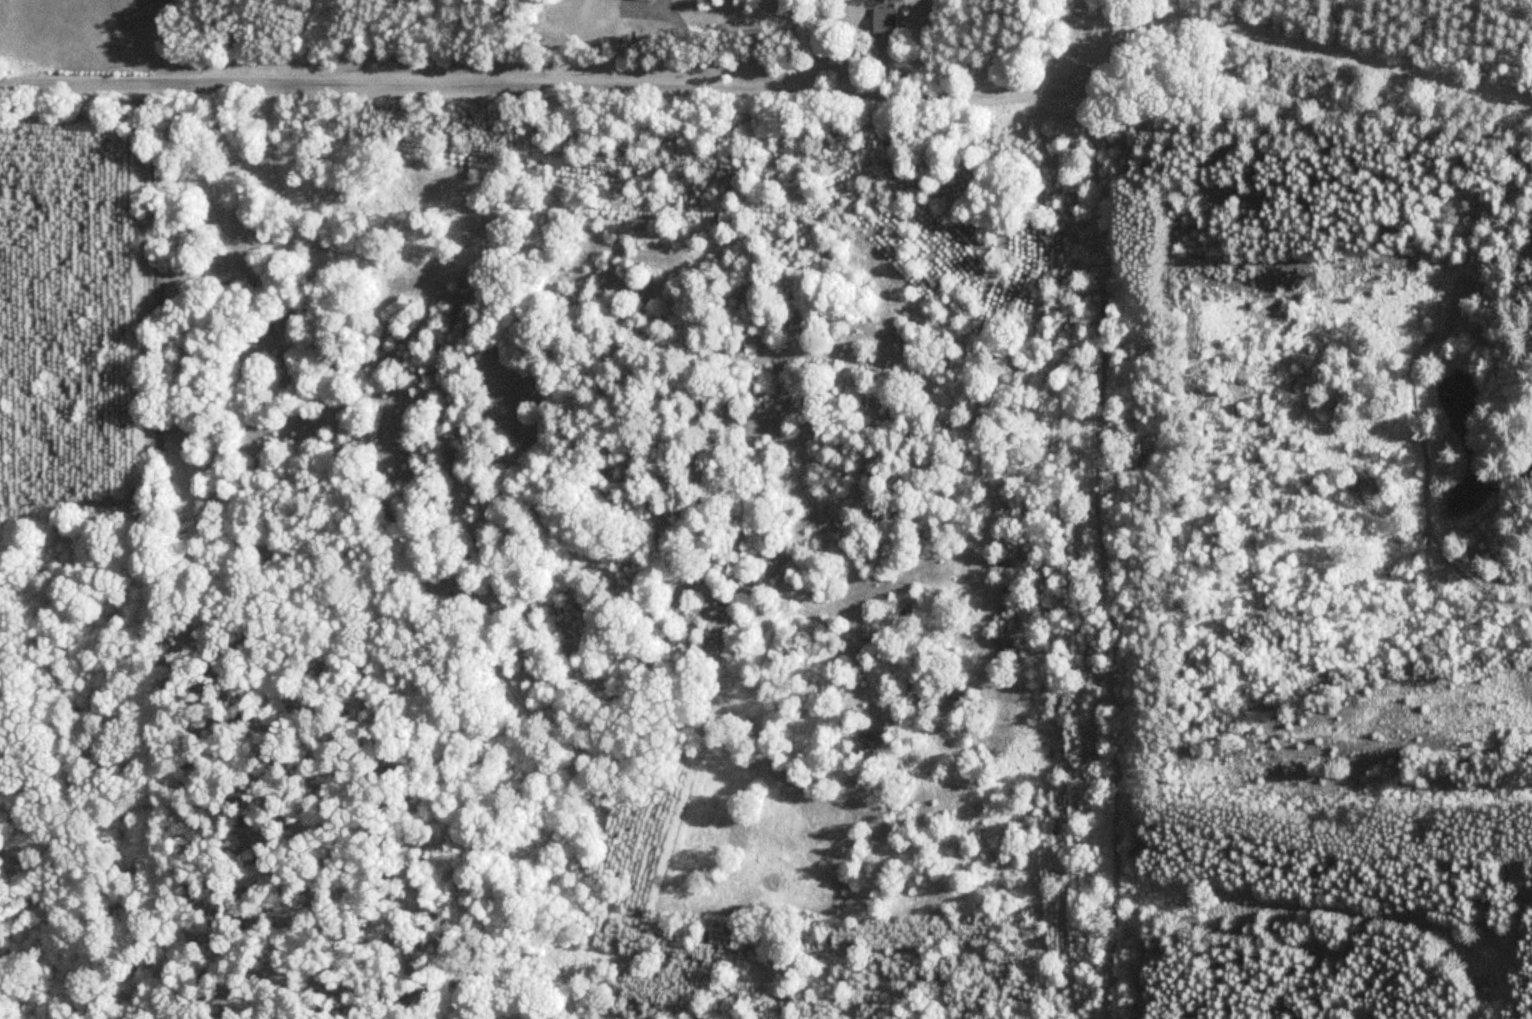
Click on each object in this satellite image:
building: (885, 19)
road: (1282, 37)
road: (237, 39)
road: (524, 80)
road: (1109, 544)
road: (1325, 776)

